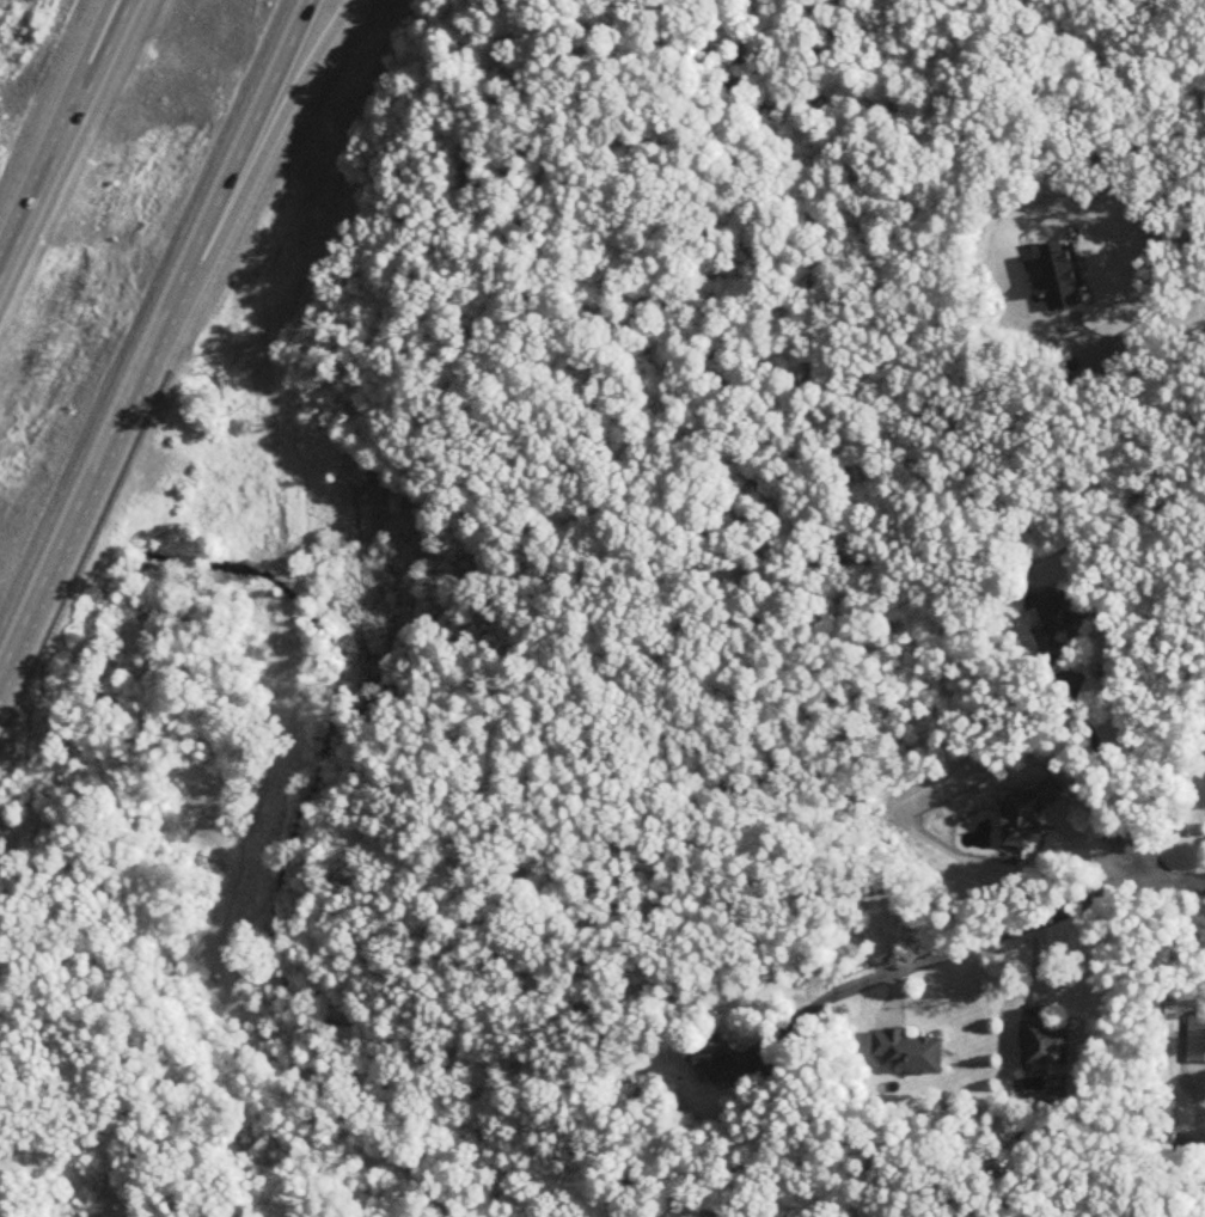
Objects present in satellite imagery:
building: (110, 61)
road: (80, 78)
road: (67, 139)
road: (264, 160)
road: (1176, 324)
road: (157, 343)
building: (1059, 619)
road: (1112, 778)
building: (1028, 819)
road: (1022, 924)
building: (1046, 1046)
building: (909, 1053)
building: (723, 1064)

